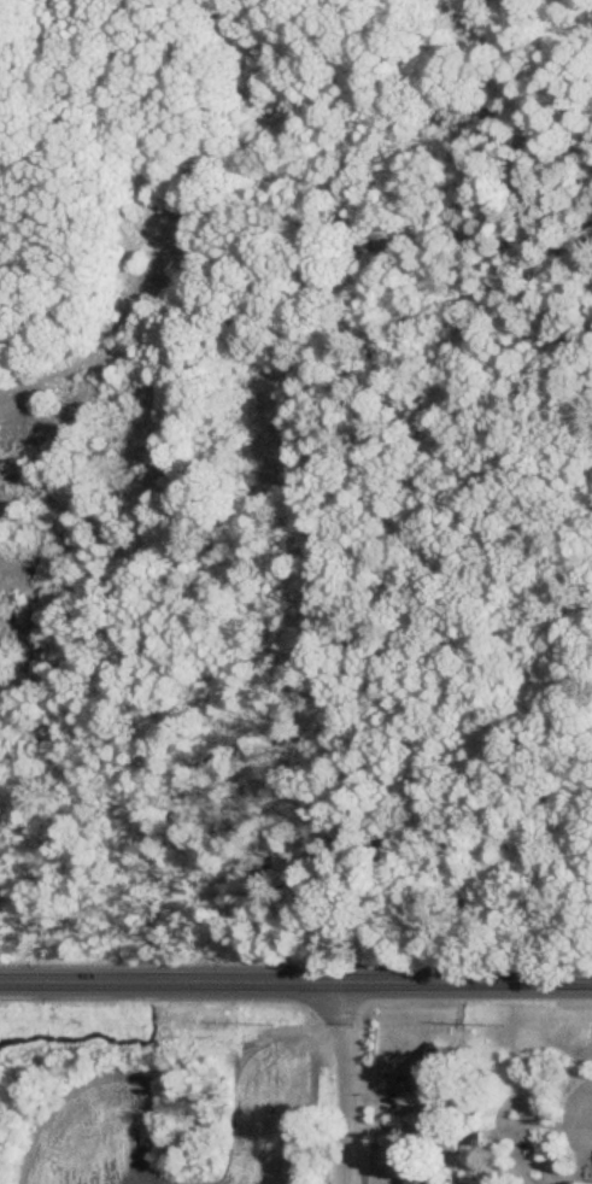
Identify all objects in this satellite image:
road: (295, 985)
road: (333, 1084)
building: (421, 1179)

